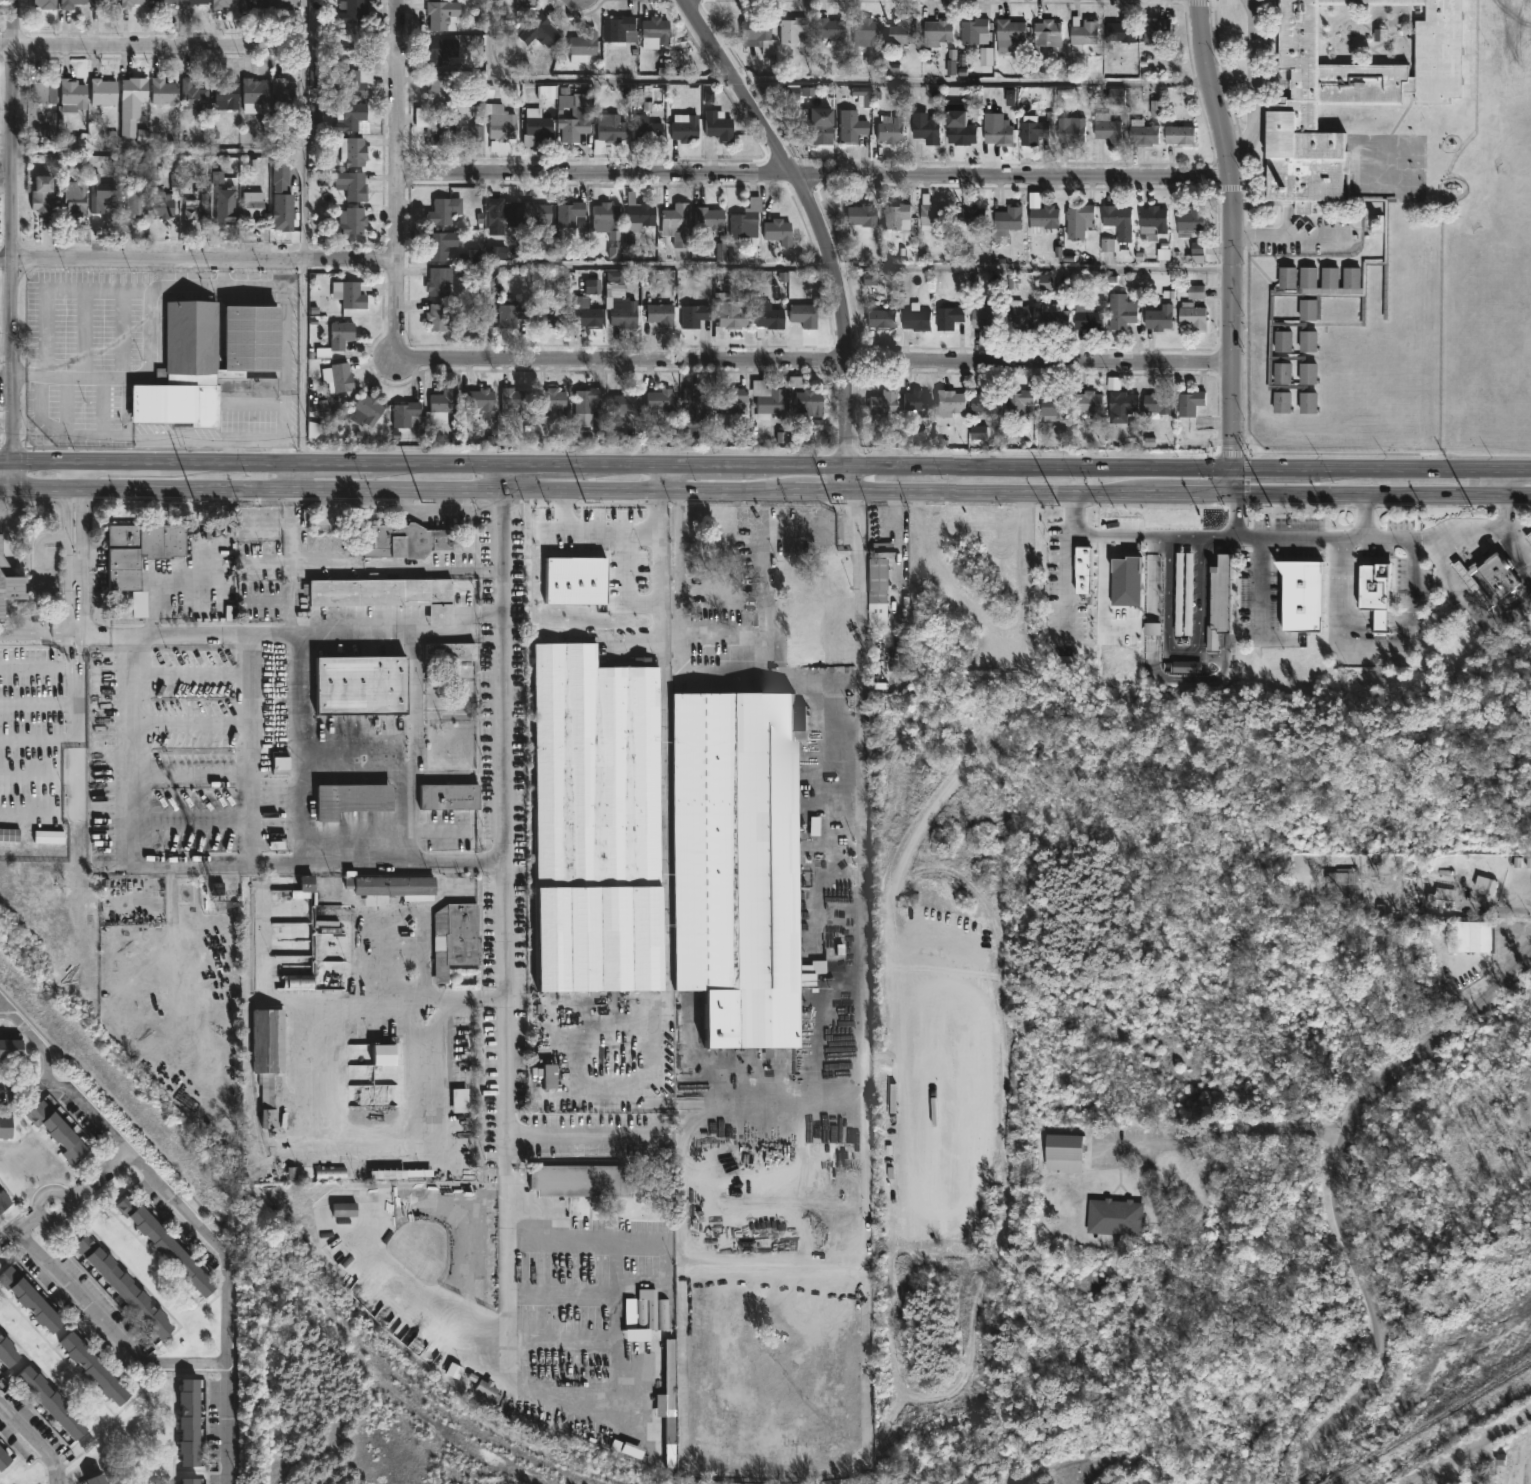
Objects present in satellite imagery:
building: (166, 2)
building: (197, 2)
building: (256, 2)
building: (46, 3)
building: (103, 3)
building: (133, 3)
building: (225, 3)
building: (527, 3)
building: (72, 4)
building: (286, 4)
building: (356, 11)
building: (441, 14)
building: (789, 29)
building: (622, 30)
building: (937, 30)
building: (1120, 30)
building: (825, 31)
building: (900, 31)
building: (972, 31)
building: (1008, 31)
building: (1156, 31)
building: (542, 32)
building: (657, 32)
building: (863, 32)
building: (1081, 32)
building: (1047, 33)
building: (755, 35)
building: (585, 45)
road: (200, 47)
building: (442, 51)
building: (351, 84)
road: (1253, 84)
road: (810, 86)
building: (442, 89)
building: (48, 91)
building: (257, 91)
building: (105, 92)
building: (165, 92)
building: (229, 94)
building: (74, 96)
building: (195, 96)
building: (285, 96)
building: (133, 104)
building: (576, 115)
building: (355, 117)
building: (503, 122)
building: (438, 124)
building: (720, 126)
building: (814, 126)
building: (539, 127)
building: (687, 127)
building: (848, 127)
building: (613, 128)
building: (924, 128)
building: (1106, 128)
building: (649, 129)
building: (887, 129)
building: (1035, 129)
building: (1071, 129)
building: (961, 133)
building: (1142, 133)
building: (998, 134)
building: (1178, 134)
building: (1335, 150)
building: (357, 152)
road: (306, 157)
road: (207, 158)
road: (790, 169)
road: (813, 174)
road: (399, 182)
building: (354, 186)
building: (44, 194)
building: (75, 197)
building: (101, 197)
building: (167, 199)
building: (138, 201)
building: (284, 201)
building: (224, 207)
building: (255, 207)
building: (445, 211)
building: (538, 213)
building: (192, 214)
building: (931, 214)
building: (502, 215)
building: (573, 215)
building: (643, 215)
building: (859, 216)
building: (895, 217)
building: (969, 217)
building: (1042, 218)
building: (1006, 219)
building: (1152, 219)
building: (609, 220)
building: (710, 220)
building: (1078, 220)
building: (1189, 220)
building: (353, 221)
building: (679, 225)
building: (747, 226)
building: (780, 231)
building: (1123, 233)
road: (1288, 233)
parking lot: (1304, 234)
road: (1229, 242)
road: (13, 243)
building: (439, 247)
road: (199, 264)
road: (817, 266)
building: (439, 283)
road: (81, 287)
park: (1454, 289)
building: (1375, 290)
building: (355, 294)
building: (1284, 310)
building: (1120, 311)
building: (513, 313)
building: (626, 313)
building: (588, 314)
building: (1053, 315)
building: (661, 316)
building: (696, 316)
building: (806, 316)
building: (980, 316)
building: (1016, 316)
building: (1191, 316)
building: (947, 317)
building: (1085, 317)
building: (1158, 317)
building: (440, 318)
building: (553, 318)
building: (879, 318)
building: (914, 318)
building: (769, 319)
building: (731, 320)
building: (337, 340)
road: (822, 359)
road: (302, 362)
building: (212, 363)
building: (344, 378)
building: (481, 401)
building: (516, 401)
building: (556, 401)
building: (589, 401)
building: (734, 401)
building: (1120, 401)
building: (628, 402)
building: (770, 402)
building: (947, 402)
building: (981, 402)
building: (1088, 402)
building: (1157, 402)
building: (1189, 402)
building: (663, 403)
building: (881, 403)
building: (915, 403)
building: (1019, 403)
building: (806, 404)
building: (1053, 404)
building: (443, 406)
building: (698, 406)
building: (369, 410)
building: (409, 416)
road: (850, 423)
road: (765, 462)
road: (74, 473)
road: (294, 474)
road: (670, 474)
road: (1511, 479)
road: (765, 487)
road: (674, 494)
power tower: (194, 501)
road: (762, 502)
power tower: (421, 503)
power tower: (585, 503)
road: (1499, 505)
road: (1232, 512)
road: (853, 516)
road: (678, 519)
building: (575, 527)
road: (1435, 527)
road: (1178, 536)
building: (1528, 536)
road: (1348, 538)
road: (1362, 538)
building: (406, 540)
road: (1515, 542)
building: (139, 550)
road: (398, 566)
road: (662, 568)
road: (75, 575)
building: (1488, 575)
building: (9, 582)
road: (1066, 584)
road: (1111, 585)
road: (1259, 585)
building: (1180, 592)
building: (384, 593)
building: (875, 593)
building: (1298, 593)
building: (1372, 595)
building: (1217, 601)
road: (1470, 601)
building: (141, 603)
road: (252, 635)
road: (1337, 640)
road: (1181, 647)
building: (449, 651)
road: (38, 665)
road: (803, 681)
building: (359, 684)
road: (249, 748)
building: (277, 763)
road: (400, 774)
road: (76, 775)
road: (293, 775)
building: (450, 796)
building: (352, 799)
road: (412, 817)
building: (595, 822)
road: (138, 828)
building: (10, 834)
building: (50, 837)
building: (736, 863)
road: (507, 873)
building: (1343, 880)
road: (662, 883)
building: (391, 887)
building: (304, 888)
building: (1494, 889)
building: (1441, 897)
building: (1471, 936)
road: (861, 944)
building: (455, 945)
building: (297, 982)
road: (414, 998)
road: (3, 1008)
road: (35, 1038)
building: (11, 1049)
building: (386, 1056)
building: (266, 1058)
building: (552, 1077)
road: (77, 1092)
building: (6, 1127)
building: (60, 1133)
road: (1232, 1134)
building: (1062, 1153)
building: (324, 1173)
road: (98, 1176)
building: (582, 1181)
road: (1332, 1197)
building: (4, 1201)
building: (347, 1210)
road: (38, 1212)
building: (1113, 1216)
road: (19, 1230)
railway: (1523, 1242)
building: (167, 1246)
road: (508, 1249)
railway: (1502, 1249)
railway: (268, 1251)
railway: (1460, 1261)
building: (125, 1287)
road: (228, 1299)
building: (32, 1301)
building: (635, 1314)
road: (109, 1327)
building: (8, 1354)
building: (672, 1367)
building: (97, 1371)
railway: (1504, 1374)
railway: (1165, 1389)
building: (53, 1405)
building: (193, 1421)
railway: (1429, 1423)
road: (36, 1438)
building: (628, 1451)
building: (4, 1458)
building: (98, 1479)
building: (193, 1480)
railway: (1327, 1483)

